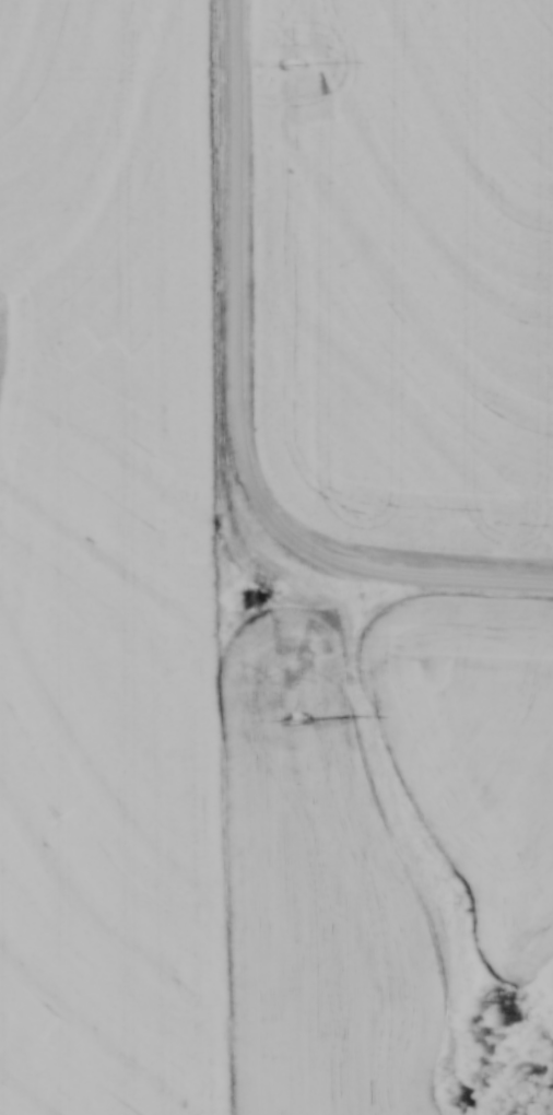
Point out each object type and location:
power tower: (293, 64)
road: (238, 216)
road: (354, 573)
power tower: (290, 719)

